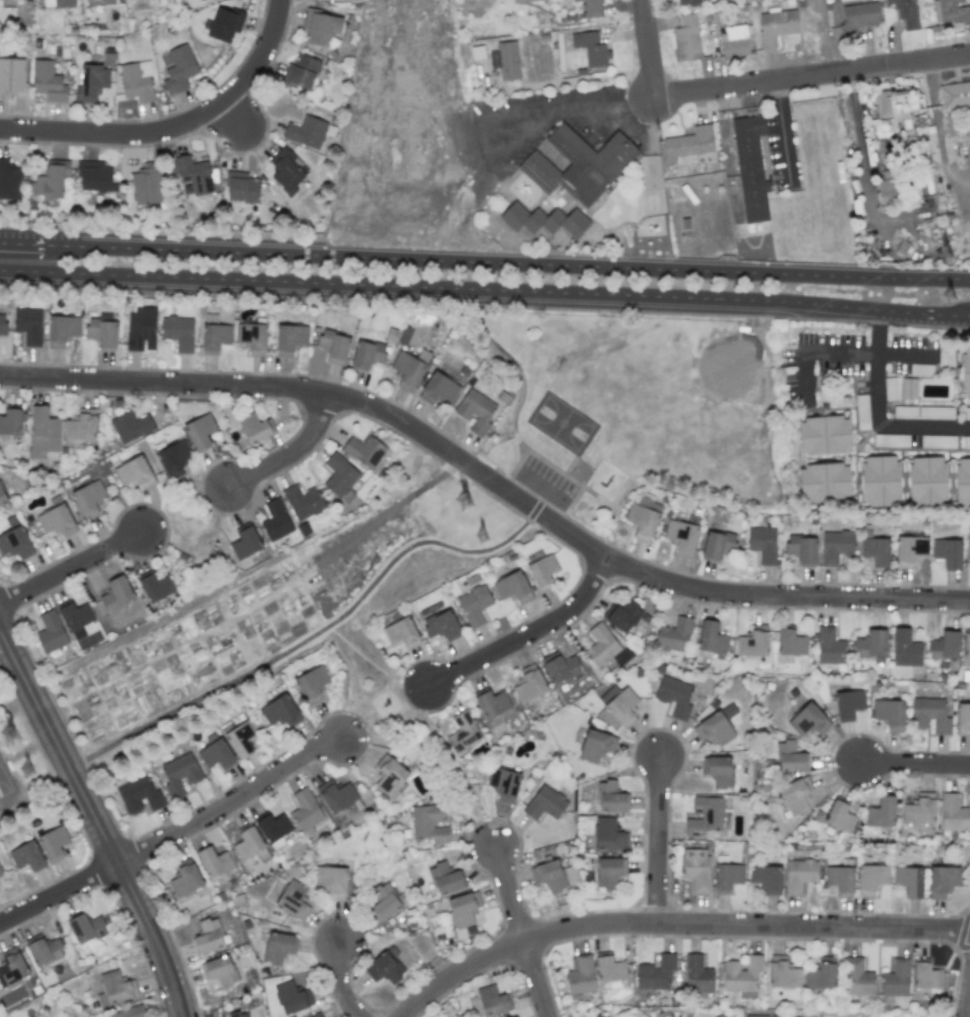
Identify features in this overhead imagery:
building: (575, 0)
building: (108, 1)
building: (521, 1)
building: (57, 3)
building: (687, 3)
building: (593, 8)
building: (904, 11)
building: (950, 12)
building: (858, 18)
building: (224, 23)
building: (321, 26)
building: (775, 26)
building: (686, 38)
building: (733, 42)
building: (590, 48)
road: (647, 50)
building: (493, 59)
building: (508, 60)
building: (178, 70)
building: (300, 72)
building: (11, 76)
building: (47, 81)
building: (136, 81)
road: (811, 81)
road: (566, 82)
building: (91, 83)
building: (954, 94)
building: (891, 111)
road: (504, 113)
road: (229, 115)
road: (176, 129)
building: (306, 132)
road: (785, 132)
building: (687, 145)
building: (578, 164)
building: (750, 167)
building: (287, 171)
building: (192, 174)
building: (94, 176)
building: (9, 180)
building: (51, 180)
building: (147, 184)
building: (241, 187)
building: (890, 189)
building: (543, 219)
power tower: (944, 255)
road: (484, 262)
road: (485, 289)
power tower: (949, 298)
building: (2, 325)
building: (28, 325)
building: (141, 329)
building: (61, 330)
building: (178, 332)
building: (215, 337)
building: (251, 338)
building: (290, 339)
building: (333, 346)
road: (845, 353)
building: (368, 354)
park: (728, 368)
building: (965, 372)
building: (889, 388)
building: (908, 388)
building: (438, 390)
road: (518, 405)
park: (633, 407)
building: (475, 411)
building: (862, 412)
road: (877, 412)
building: (904, 412)
building: (935, 412)
building: (966, 413)
building: (10, 422)
park: (562, 423)
building: (130, 426)
building: (80, 427)
building: (254, 428)
building: (199, 432)
building: (43, 434)
building: (823, 435)
building: (891, 440)
building: (937, 441)
building: (966, 442)
building: (363, 451)
road: (294, 457)
building: (173, 458)
road: (513, 470)
building: (134, 473)
building: (340, 477)
road: (488, 481)
building: (879, 481)
building: (926, 481)
building: (824, 482)
building: (962, 483)
parking lot: (546, 484)
building: (88, 498)
building: (2, 499)
building: (303, 501)
power tower: (464, 502)
road: (570, 507)
road: (391, 510)
building: (642, 519)
building: (275, 520)
building: (56, 521)
building: (681, 536)
power tower: (481, 537)
building: (245, 543)
building: (762, 544)
building: (717, 545)
building: (836, 546)
building: (802, 549)
building: (910, 550)
building: (875, 551)
building: (947, 552)
building: (968, 555)
road: (73, 569)
building: (542, 572)
building: (155, 587)
building: (512, 588)
building: (117, 593)
building: (474, 604)
building: (622, 615)
building: (75, 619)
building: (50, 632)
building: (401, 633)
road: (526, 636)
building: (673, 636)
building: (711, 638)
road: (311, 639)
building: (752, 644)
building: (870, 644)
building: (600, 645)
building: (789, 645)
building: (829, 646)
building: (966, 646)
building: (944, 648)
building: (904, 649)
road: (357, 659)
building: (560, 667)
road: (405, 683)
building: (311, 684)
building: (529, 684)
building: (674, 696)
road: (14, 697)
road: (349, 698)
building: (492, 703)
building: (619, 704)
building: (848, 704)
building: (279, 711)
building: (889, 714)
building: (929, 715)
building: (606, 718)
building: (963, 719)
building: (808, 720)
building: (713, 729)
building: (463, 733)
power tower: (9, 735)
building: (241, 739)
building: (595, 746)
building: (216, 755)
building: (789, 757)
road: (917, 765)
power tower: (27, 770)
building: (717, 771)
building: (179, 774)
building: (390, 777)
park: (5, 783)
building: (504, 784)
building: (139, 795)
building: (336, 796)
building: (795, 796)
building: (610, 797)
road: (230, 800)
building: (545, 803)
building: (305, 810)
building: (919, 810)
building: (881, 812)
building: (952, 813)
building: (705, 814)
building: (839, 817)
road: (95, 823)
building: (428, 824)
building: (273, 826)
building: (608, 835)
road: (659, 840)
building: (53, 843)
building: (248, 843)
building: (27, 856)
building: (214, 862)
building: (696, 868)
building: (609, 871)
building: (0, 873)
building: (799, 874)
building: (548, 875)
building: (727, 877)
building: (445, 878)
building: (767, 878)
building: (185, 879)
building: (839, 879)
building: (871, 879)
building: (942, 880)
building: (909, 881)
building: (331, 882)
road: (58, 894)
road: (513, 895)
building: (292, 900)
building: (382, 902)
building: (462, 913)
road: (678, 925)
building: (86, 928)
building: (208, 936)
building: (277, 947)
building: (43, 950)
building: (384, 966)
building: (12, 967)
building: (610, 970)
building: (219, 971)
building: (655, 973)
building: (782, 973)
building: (697, 974)
building: (580, 975)
building: (742, 976)
building: (820, 976)
building: (925, 976)
building: (857, 977)
building: (895, 978)
road: (540, 979)
road: (346, 982)
building: (115, 988)
building: (292, 997)
building: (491, 1000)
road: (968, 1008)
building: (129, 1012)
building: (237, 1014)
building: (317, 1015)
building: (514, 1016)
building: (516, 1016)
building: (603, 1016)
building: (717, 1016)
building: (758, 1016)

